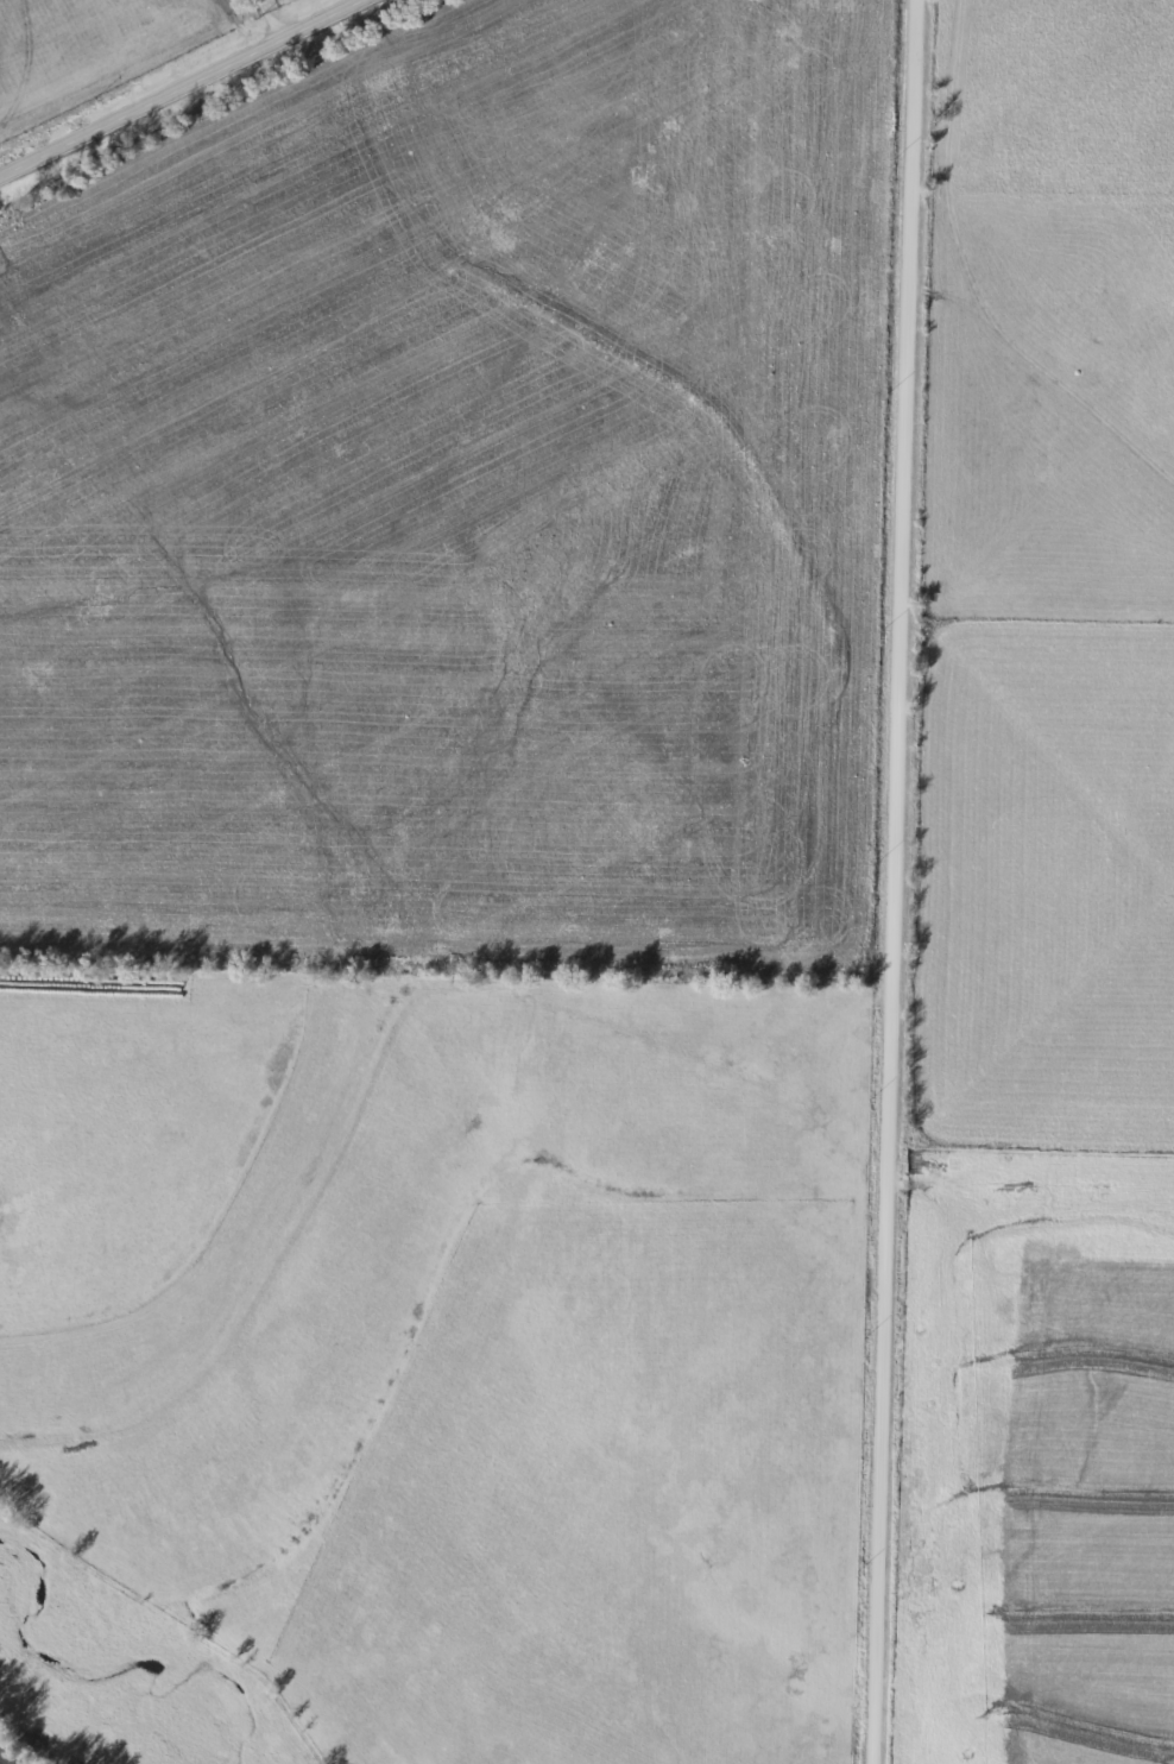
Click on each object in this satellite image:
road: (272, 19)
road: (182, 89)
road: (888, 882)

